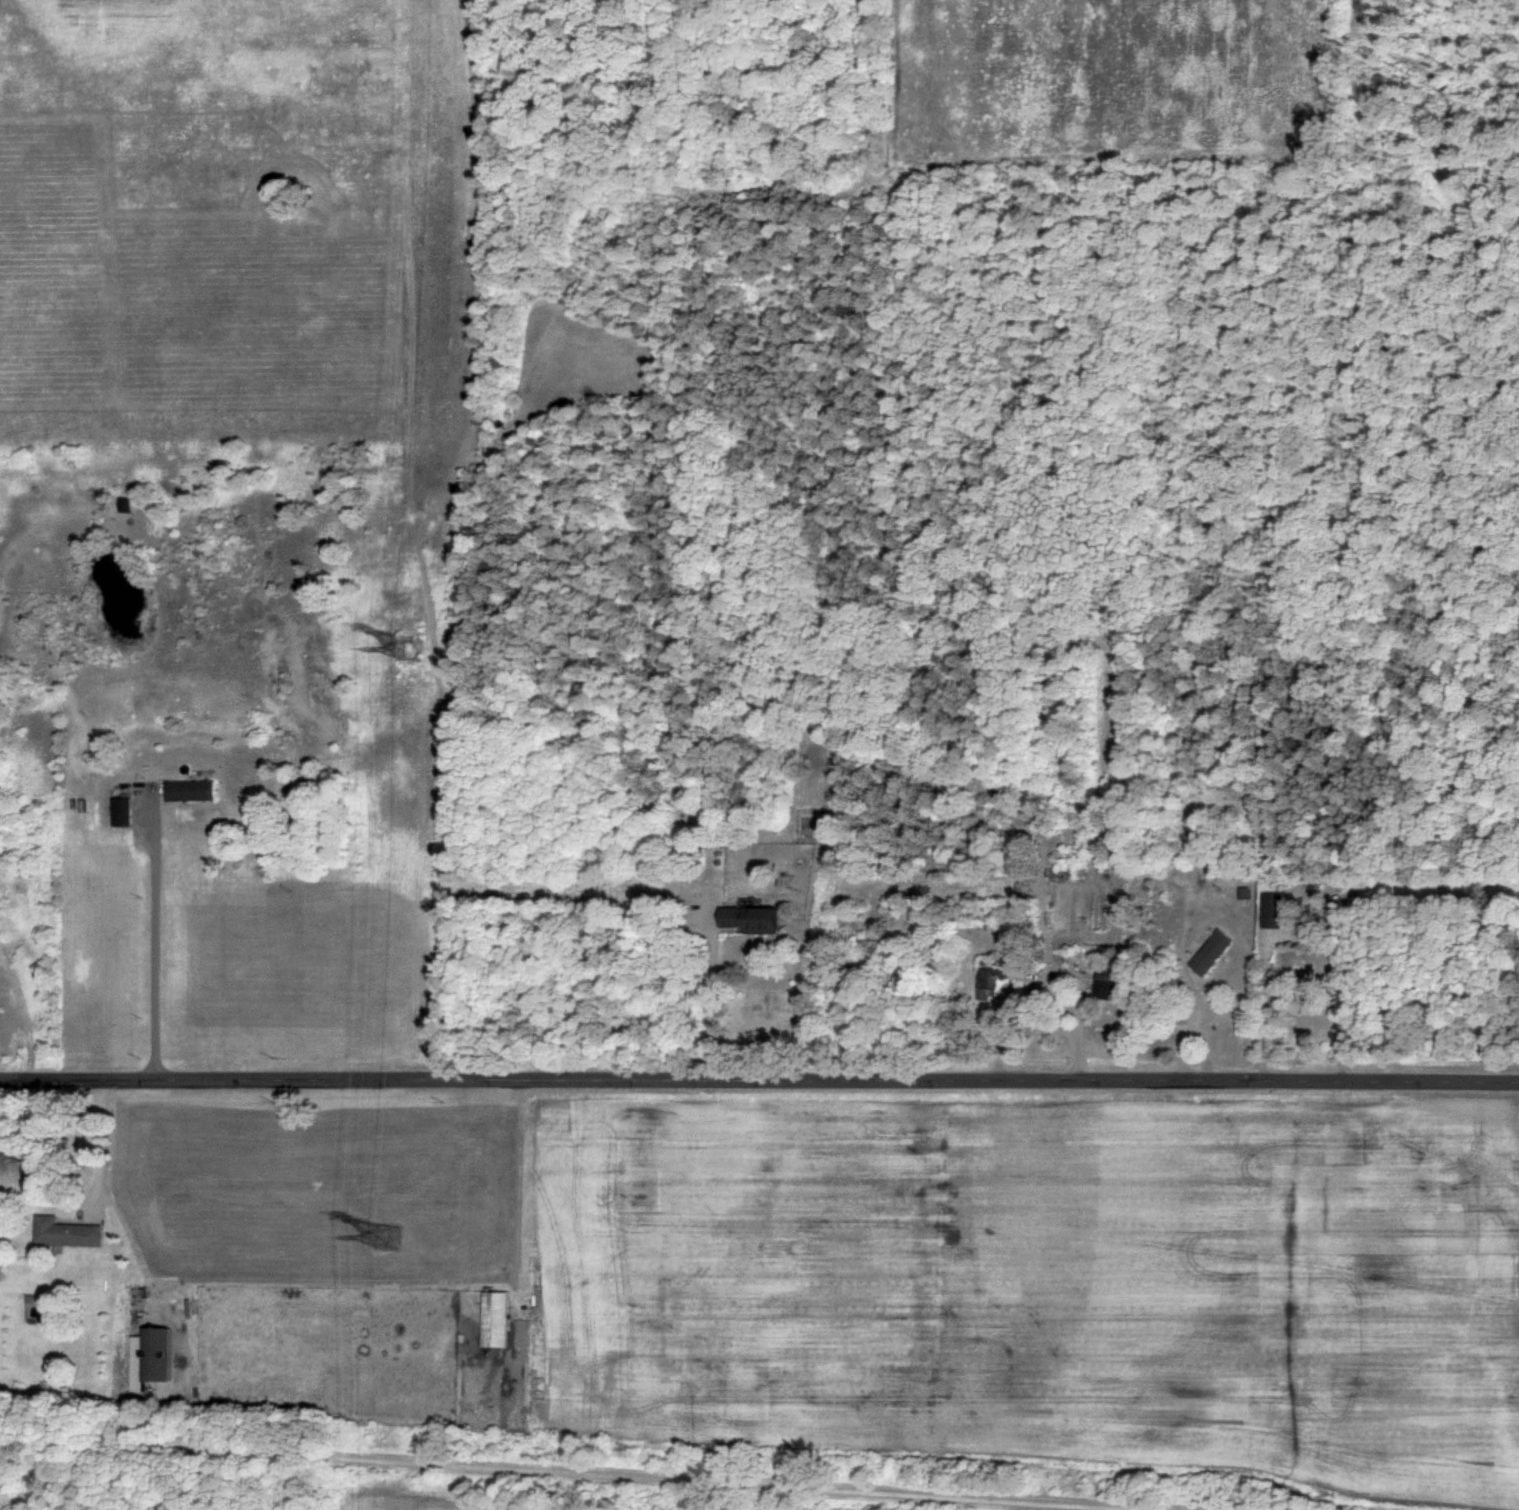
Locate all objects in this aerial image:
power tower: (413, 646)
building: (185, 790)
building: (117, 811)
building: (1268, 910)
building: (747, 919)
road: (153, 940)
building: (1207, 952)
building: (986, 982)
building: (1103, 986)
road: (709, 1006)
road: (1267, 1009)
road: (759, 1081)
road: (101, 1149)
building: (64, 1231)
power tower: (385, 1232)
building: (492, 1318)
building: (148, 1355)
road: (578, 1473)

